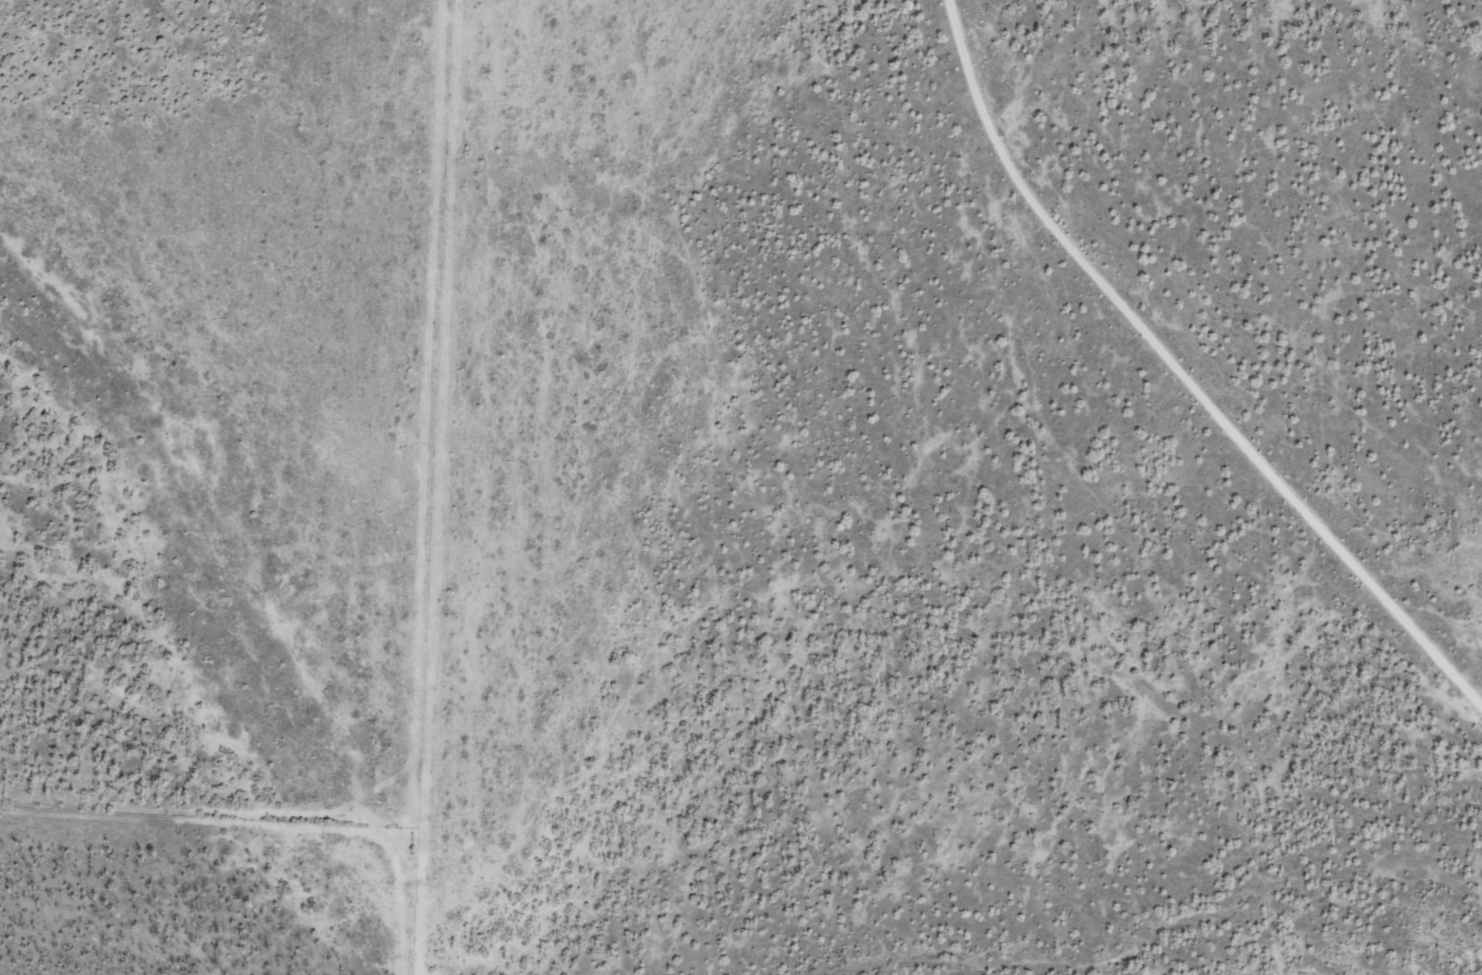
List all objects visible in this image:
road: (1057, 387)
road: (1256, 501)
road: (1425, 688)
road: (1199, 774)

